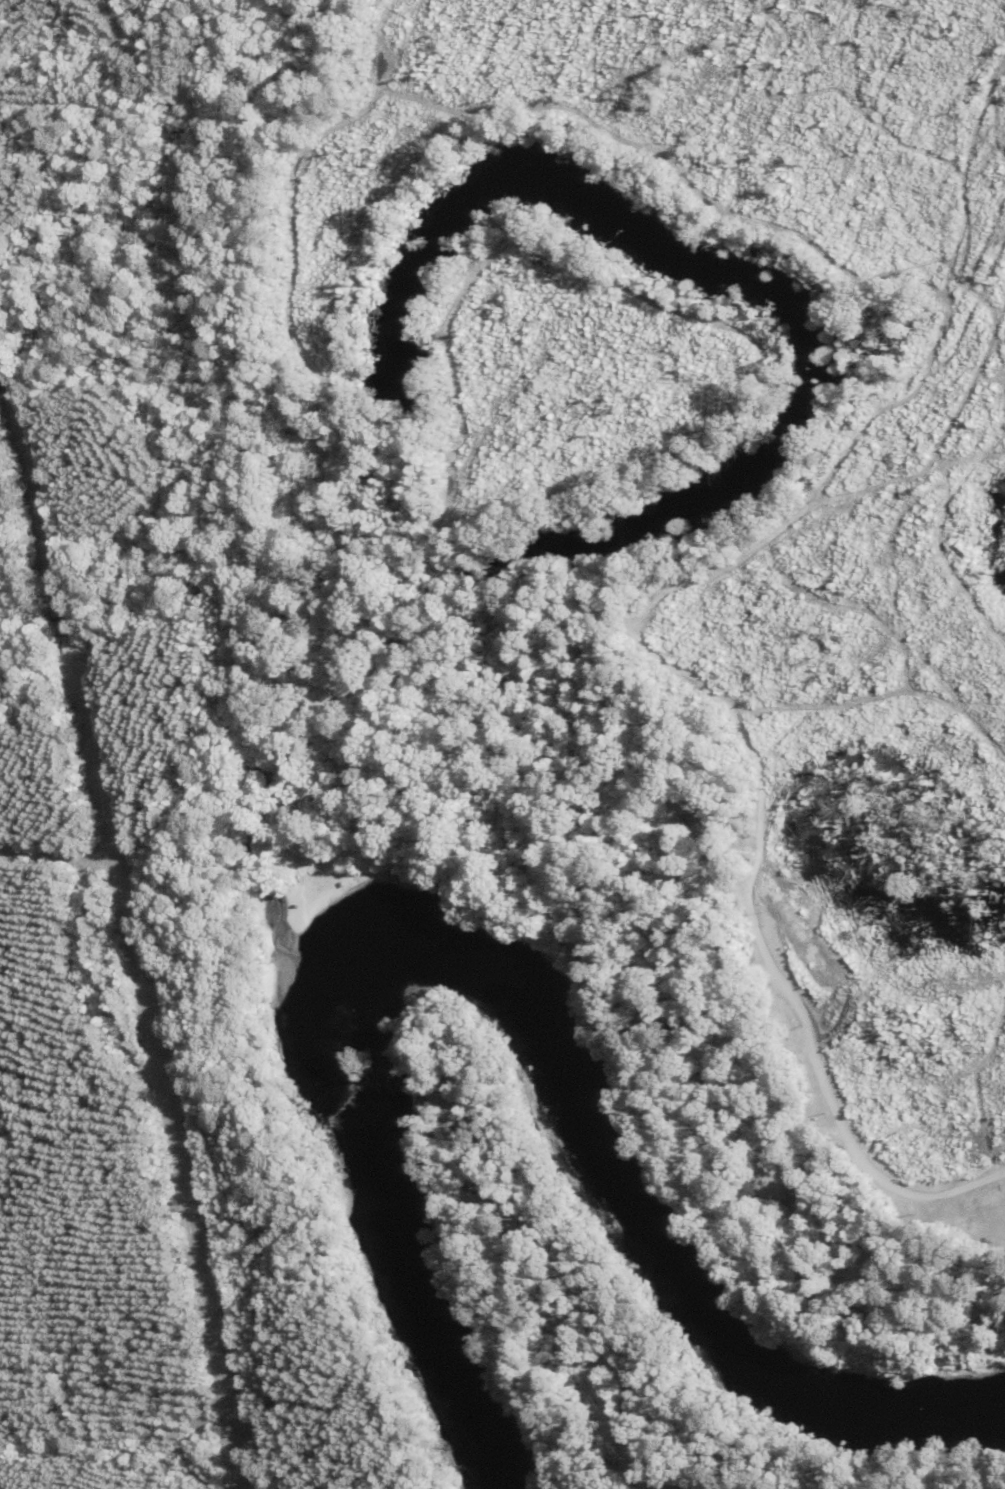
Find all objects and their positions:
building: (690, 826)
river: (499, 958)
building: (691, 1021)
building: (796, 1187)
building: (479, 1192)

